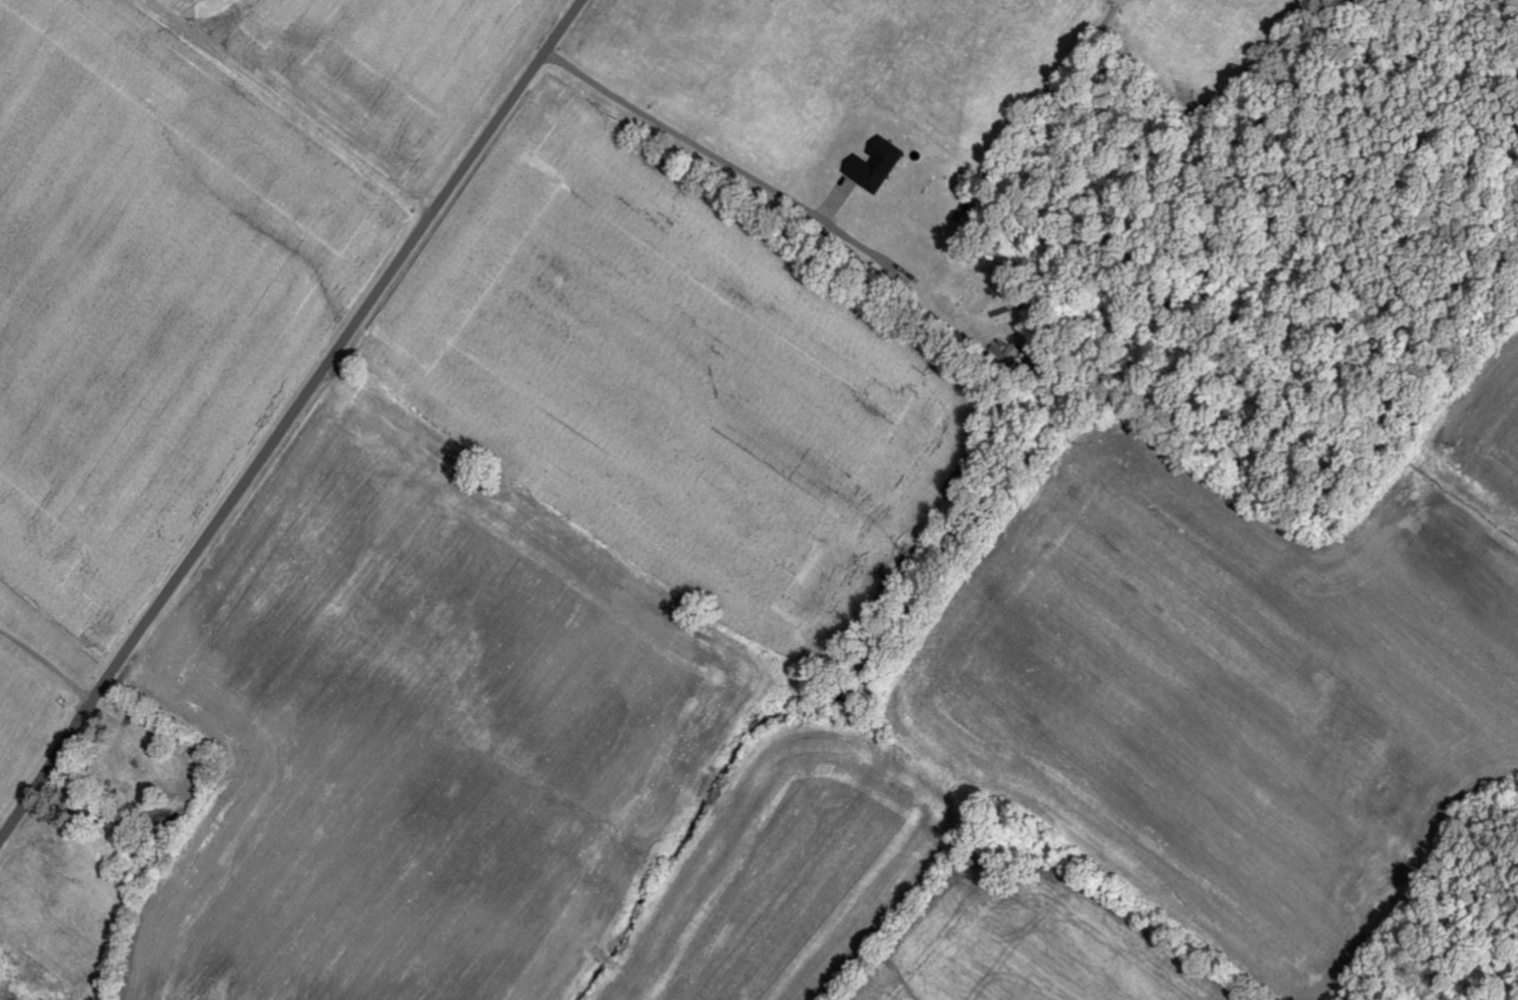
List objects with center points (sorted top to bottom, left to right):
road: (695, 145)
building: (878, 165)
road: (289, 421)
road: (49, 663)

